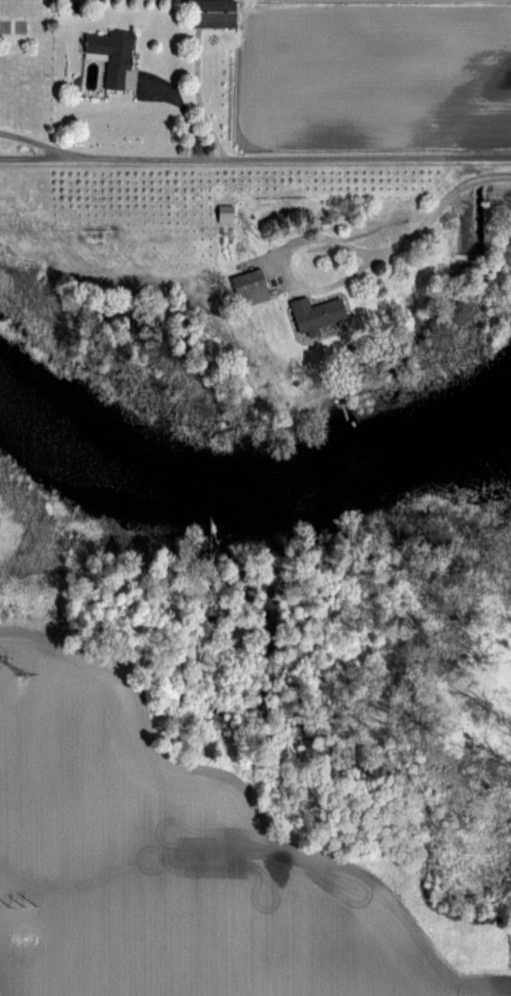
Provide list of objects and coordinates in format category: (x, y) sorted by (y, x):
building: (216, 13)
building: (114, 55)
road: (29, 143)
road: (255, 158)
road: (434, 204)
building: (252, 287)
road: (292, 289)
building: (318, 313)

